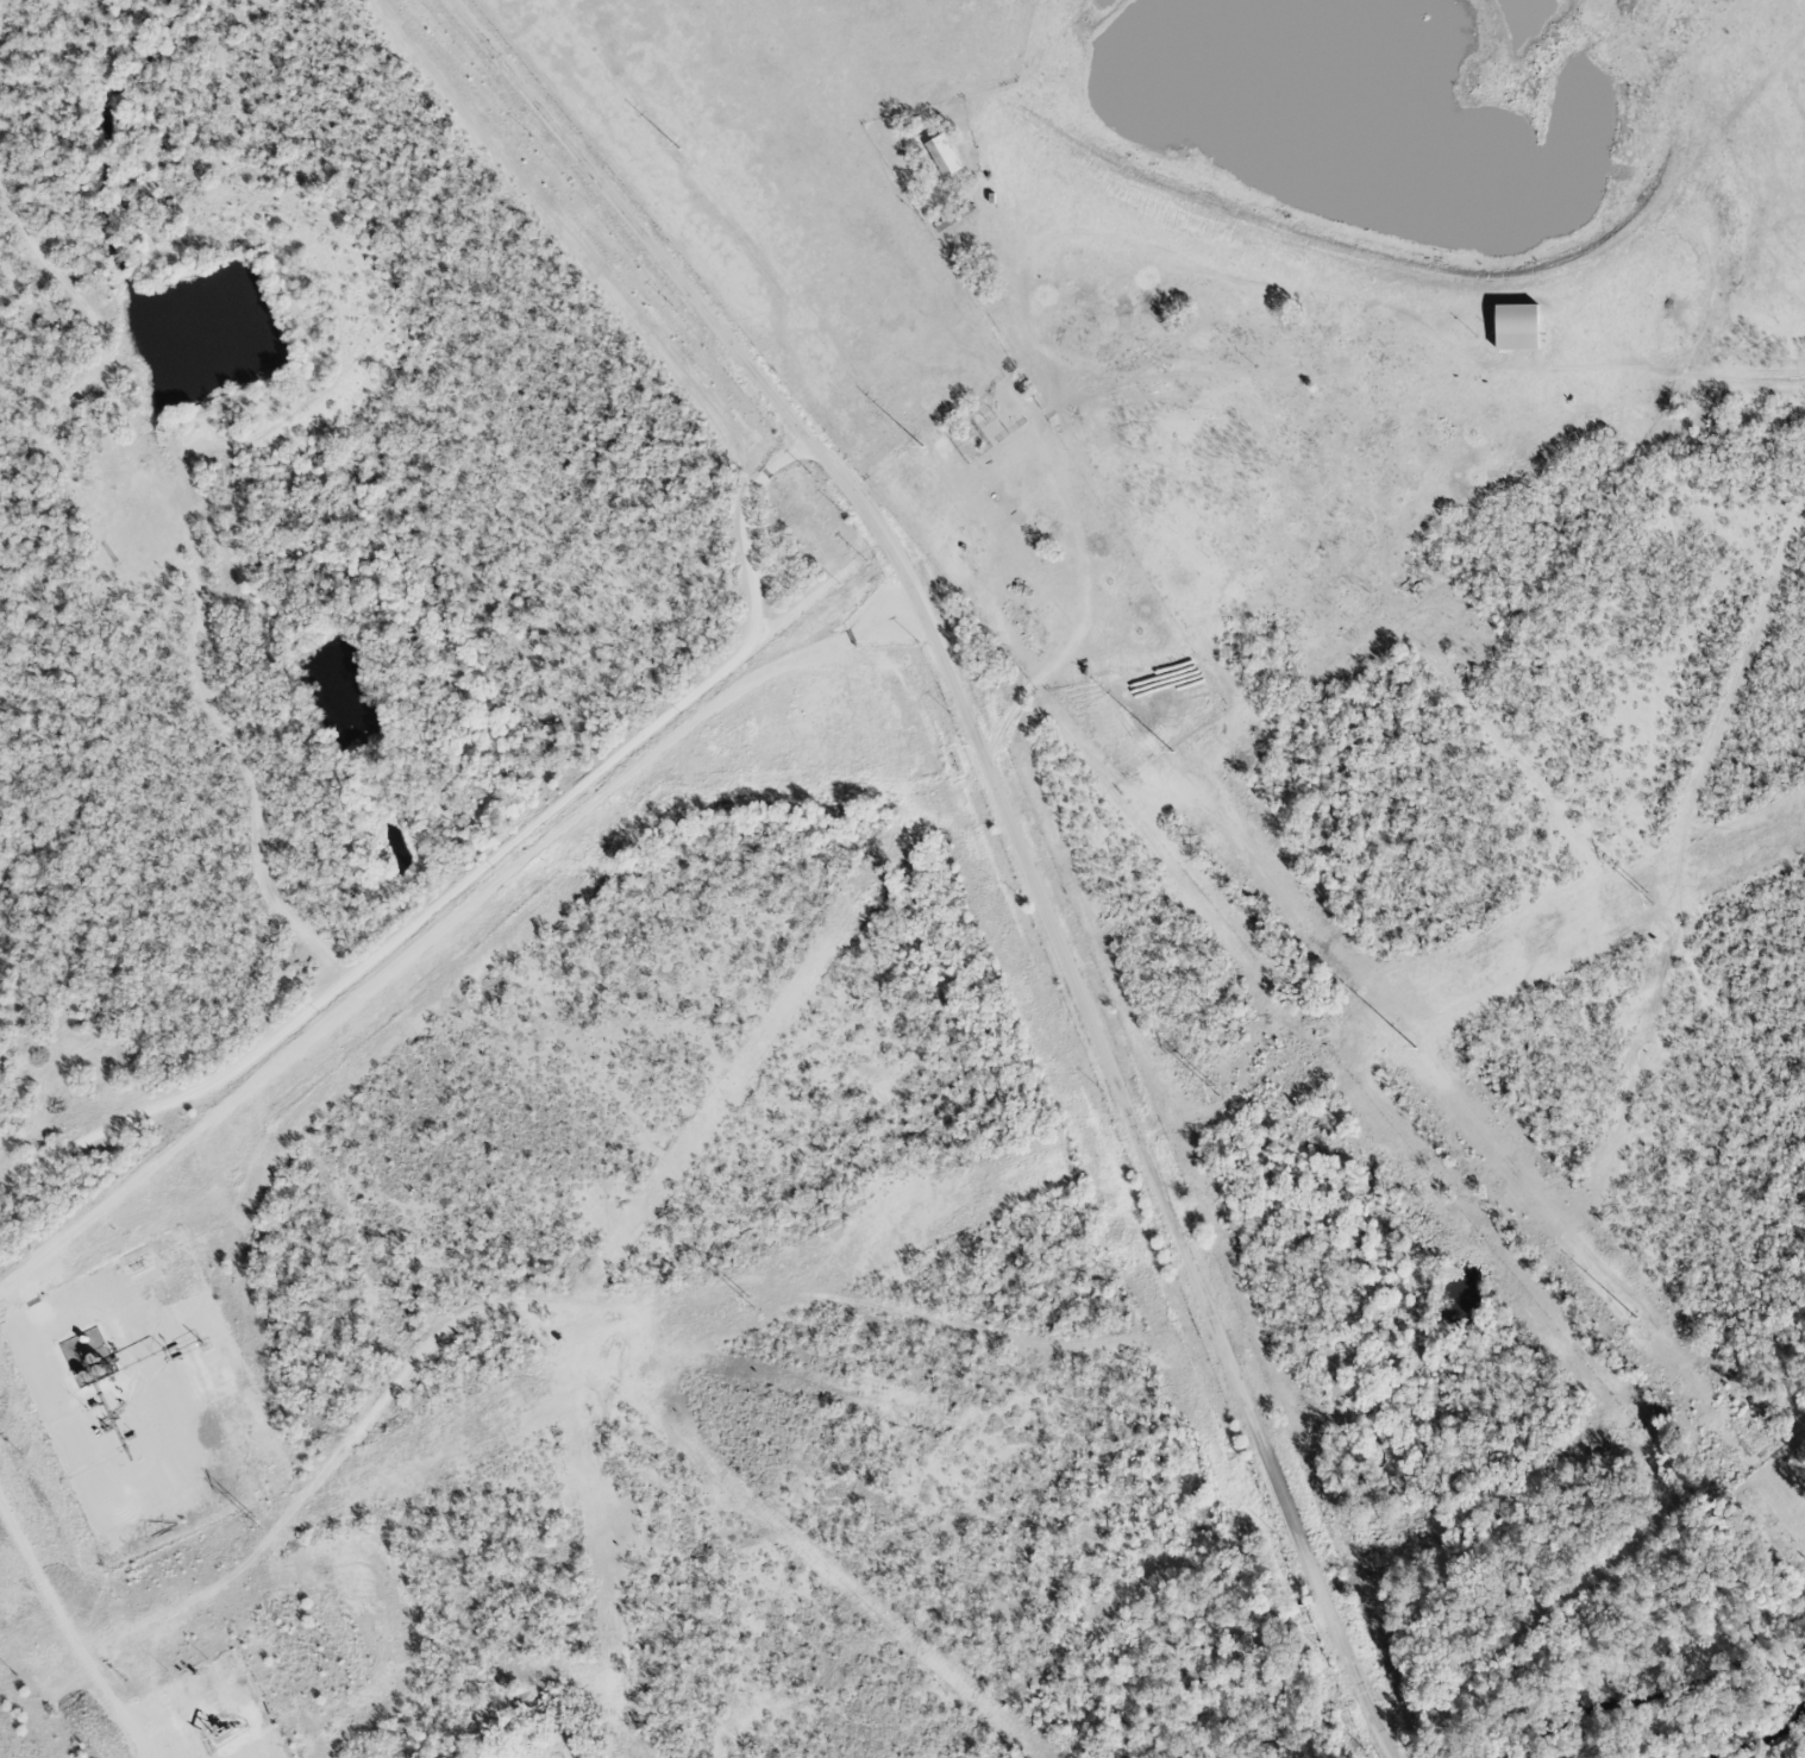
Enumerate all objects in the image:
power tower: (671, 143)
building: (940, 156)
building: (1511, 327)
power tower: (914, 438)
power tower: (1151, 727)
road: (1010, 825)
road: (482, 865)
power tower: (1646, 896)
road: (446, 921)
power tower: (1391, 1021)
power tower: (1215, 1091)
power tower: (748, 1299)
power tower: (1631, 1314)
power tower: (253, 1520)
road: (79, 1622)

